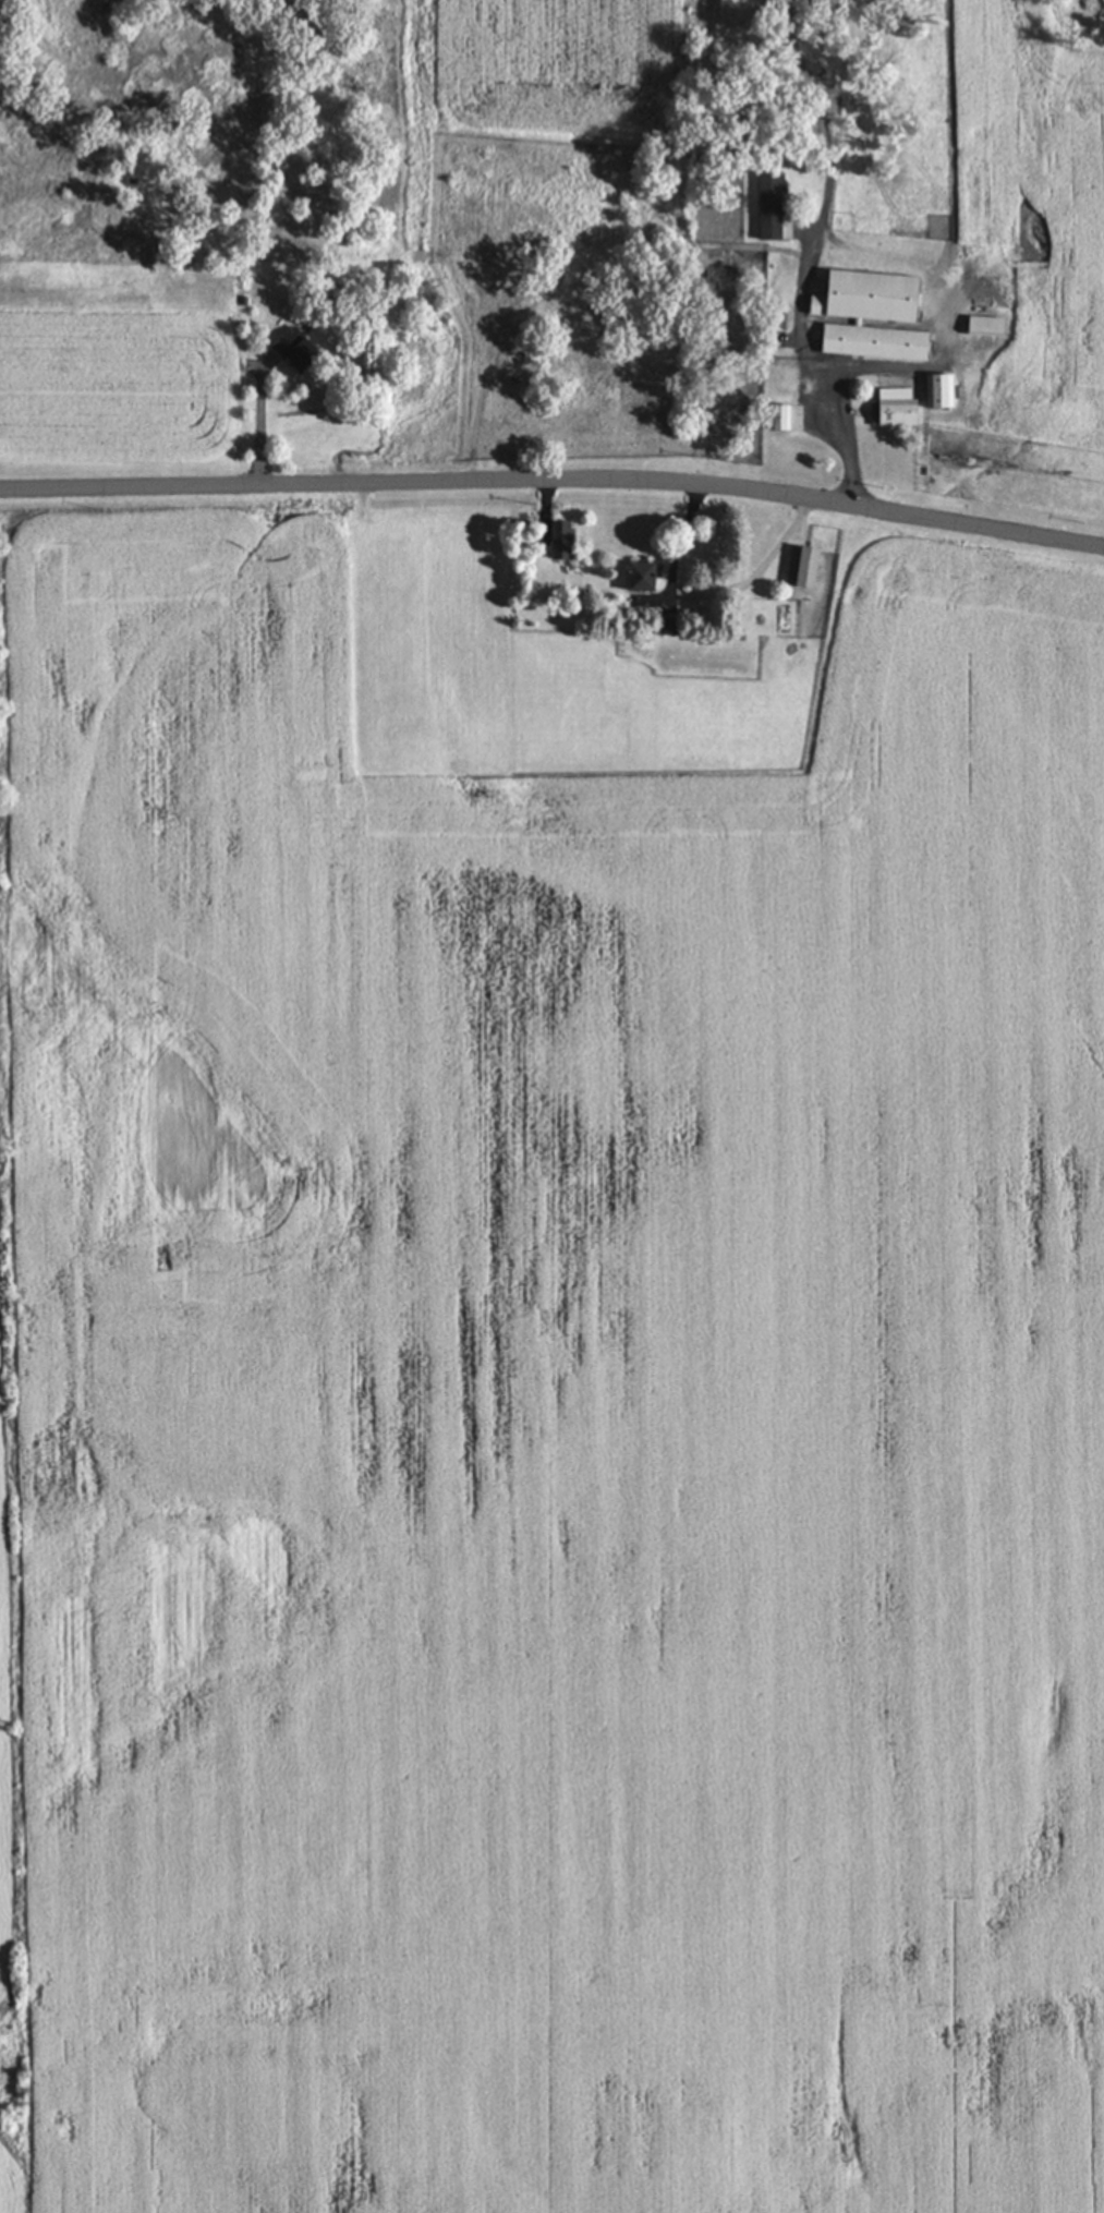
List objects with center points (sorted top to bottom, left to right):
building: (766, 195)
building: (864, 298)
building: (981, 327)
building: (871, 342)
building: (292, 350)
road: (806, 371)
building: (937, 391)
building: (893, 413)
building: (777, 418)
road: (257, 421)
road: (554, 485)
building: (558, 540)
building: (800, 568)
building: (635, 578)

